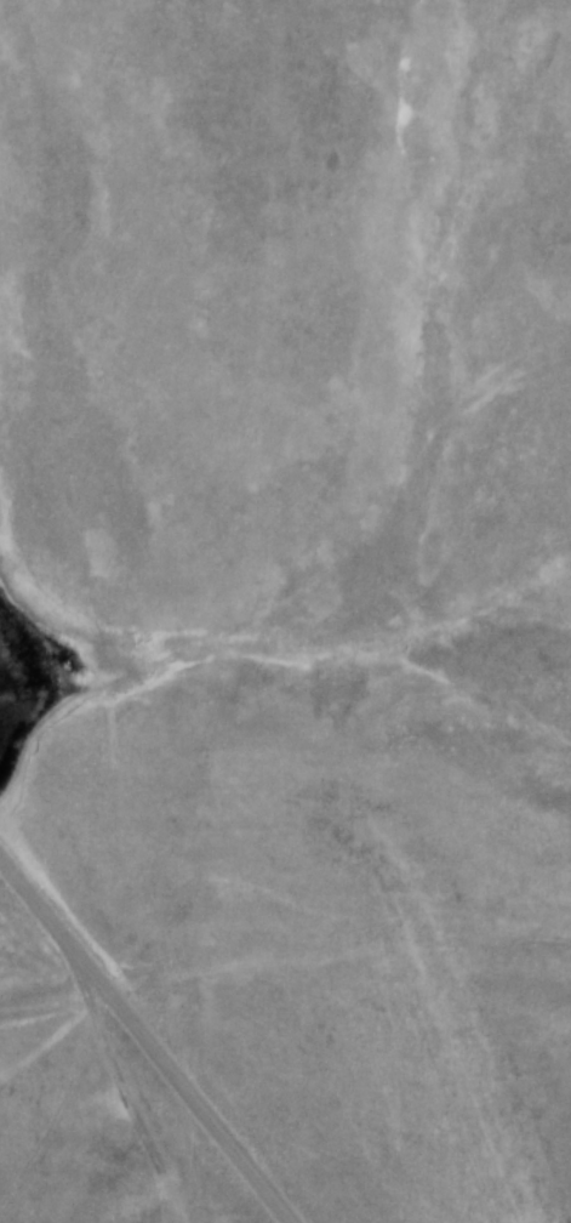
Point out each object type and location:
road: (141, 1041)

